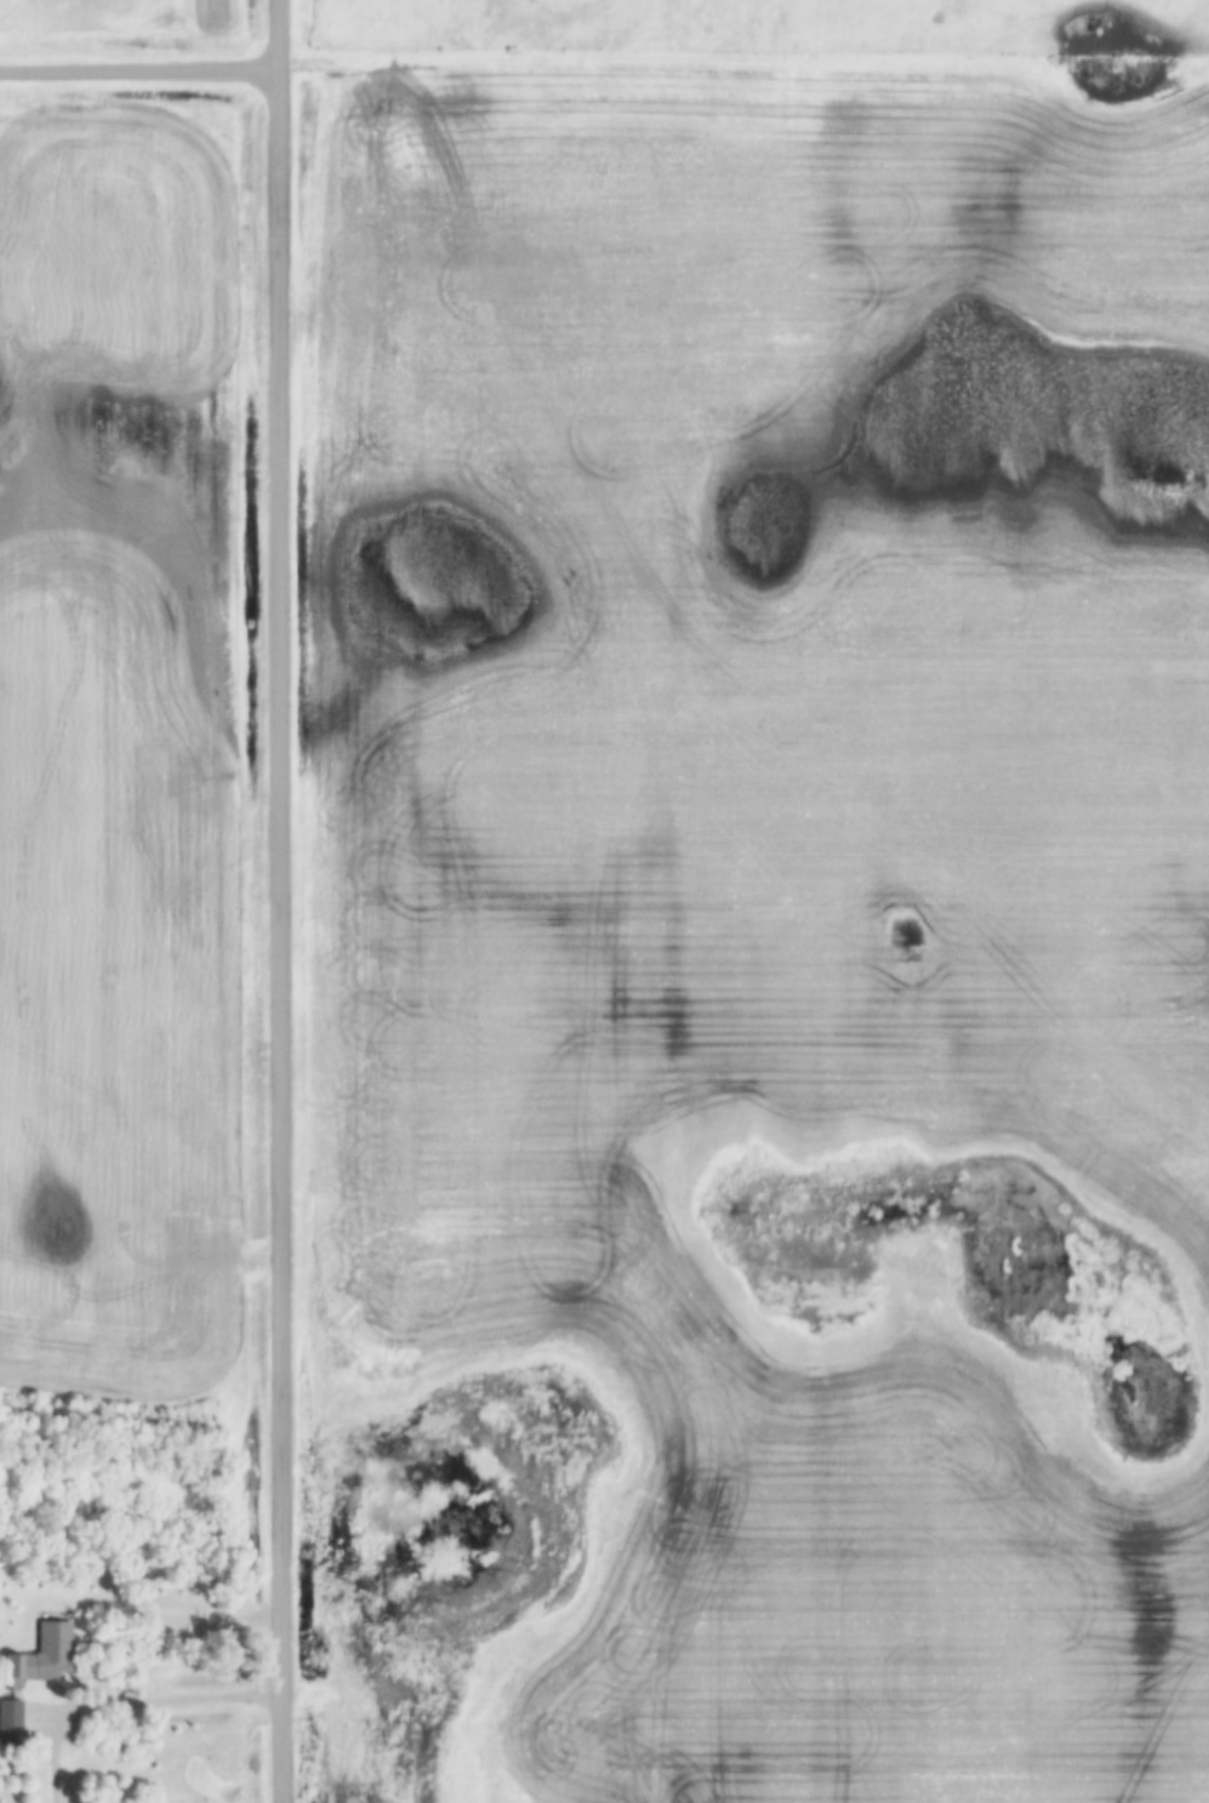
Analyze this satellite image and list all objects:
road: (742, 63)
road: (138, 69)
road: (279, 901)
building: (33, 1670)
road: (121, 1704)
building: (10, 1718)

